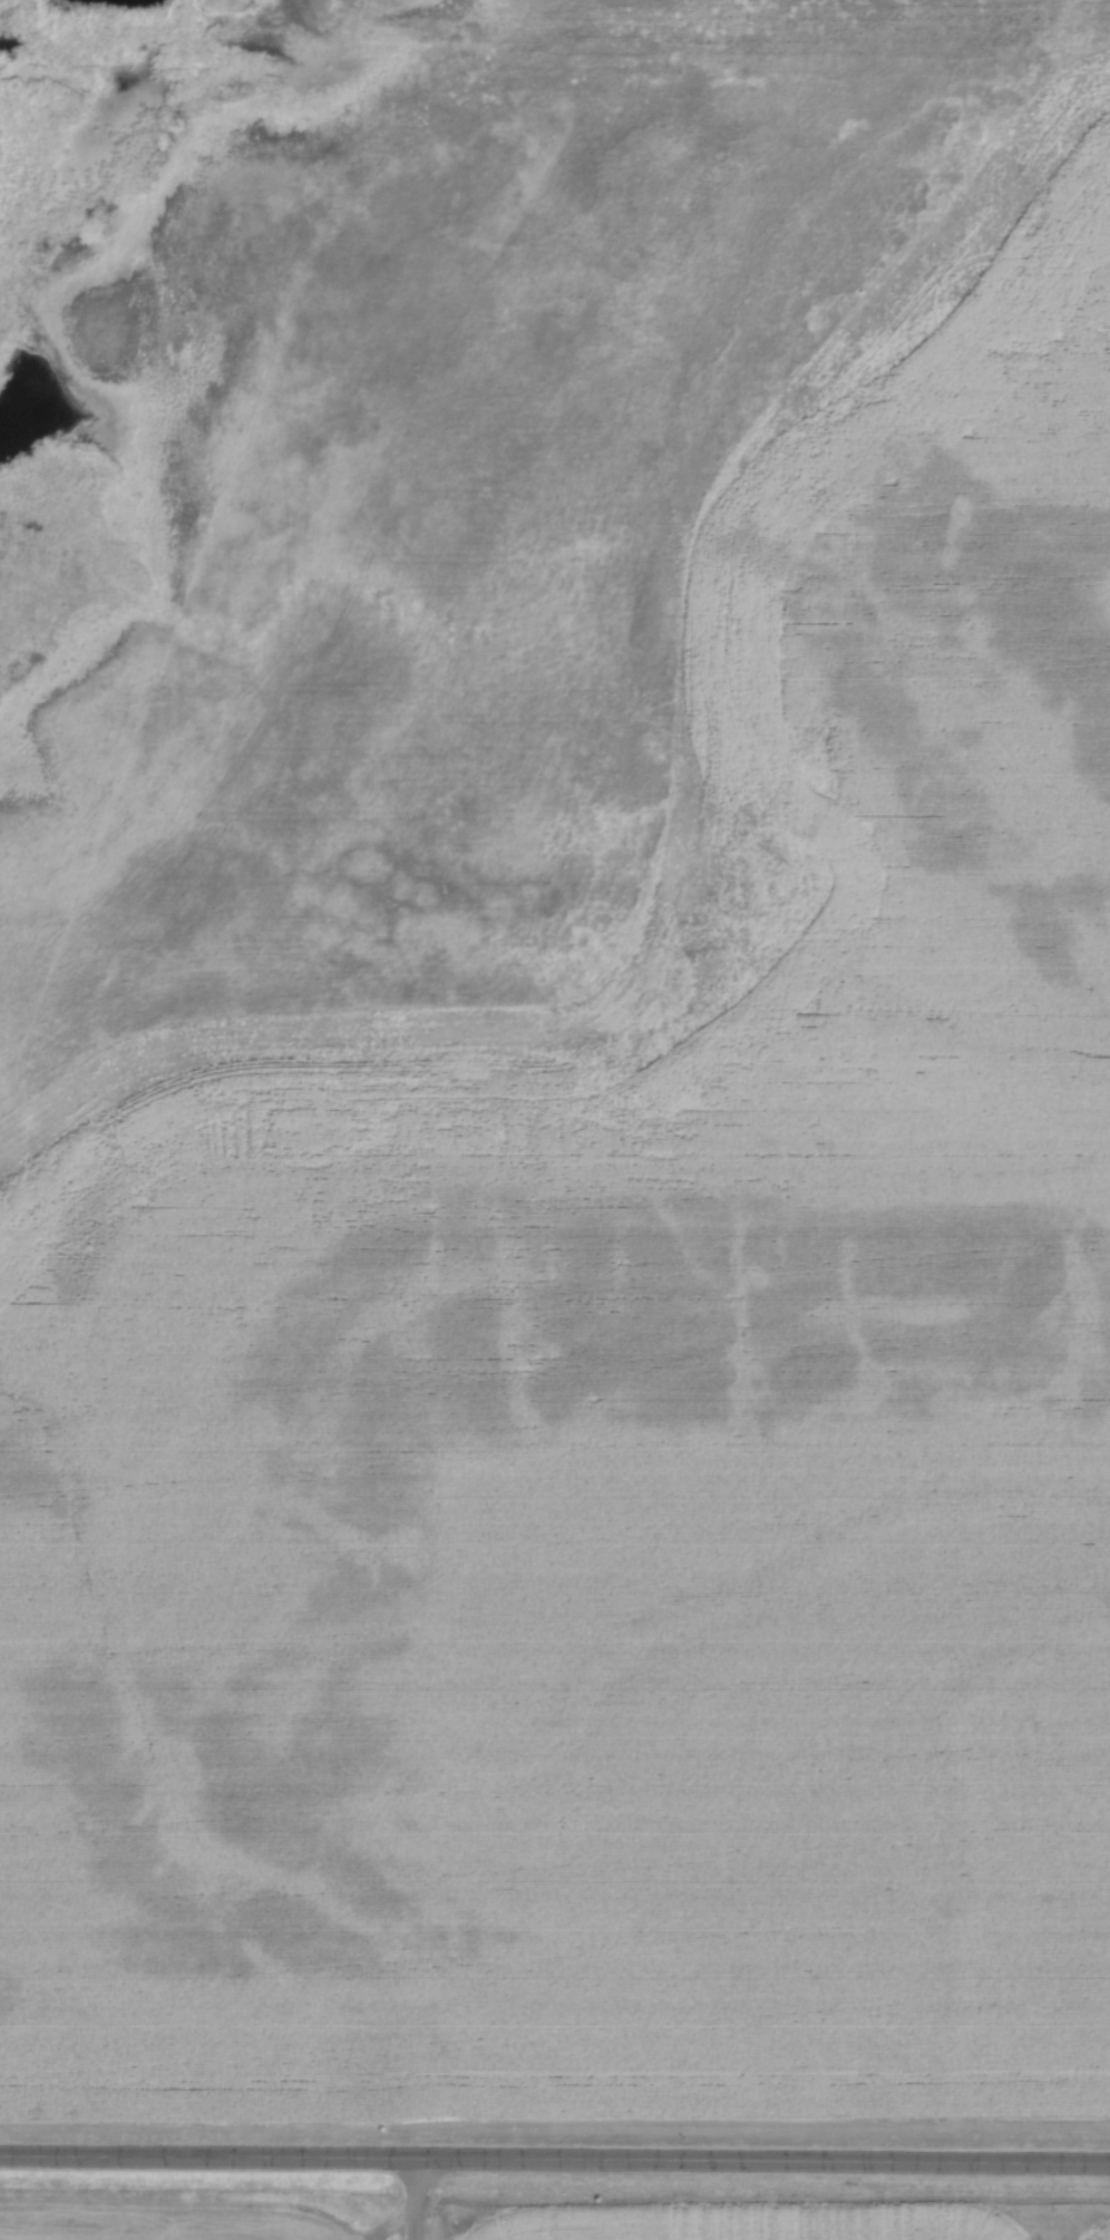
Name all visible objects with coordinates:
road: (555, 2156)
road: (413, 2198)
crop: (176, 2217)

